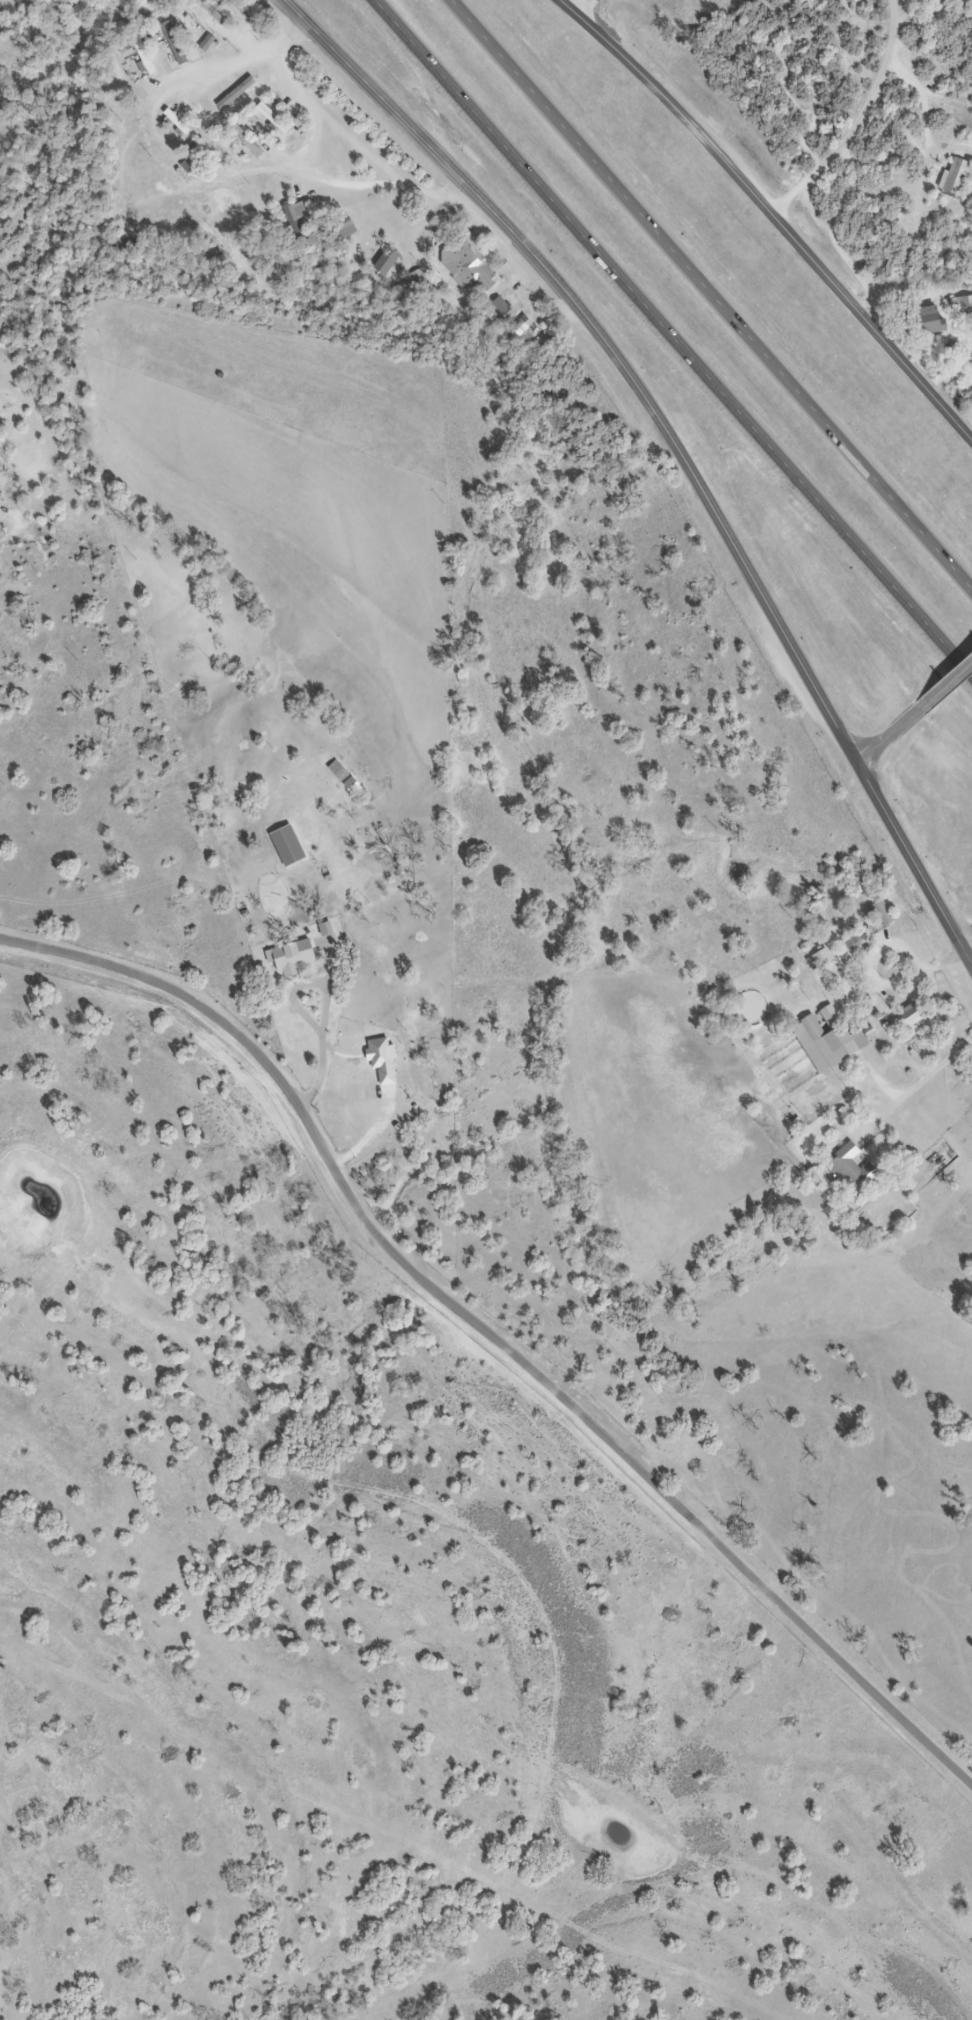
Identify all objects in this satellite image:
road: (591, 11)
building: (206, 43)
building: (143, 56)
road: (315, 105)
road: (859, 119)
road: (365, 147)
building: (207, 156)
building: (188, 165)
building: (954, 175)
road: (192, 183)
road: (772, 214)
building: (296, 216)
building: (344, 228)
building: (386, 261)
building: (467, 264)
building: (417, 284)
road: (708, 295)
building: (959, 305)
building: (503, 308)
building: (931, 320)
building: (521, 325)
road: (670, 340)
road: (612, 349)
road: (945, 684)
road: (887, 736)
building: (287, 846)
road: (913, 862)
building: (881, 914)
building: (853, 940)
building: (290, 958)
road: (926, 975)
building: (908, 1018)
building: (827, 1040)
road: (915, 1085)
building: (849, 1171)
road: (490, 1337)

